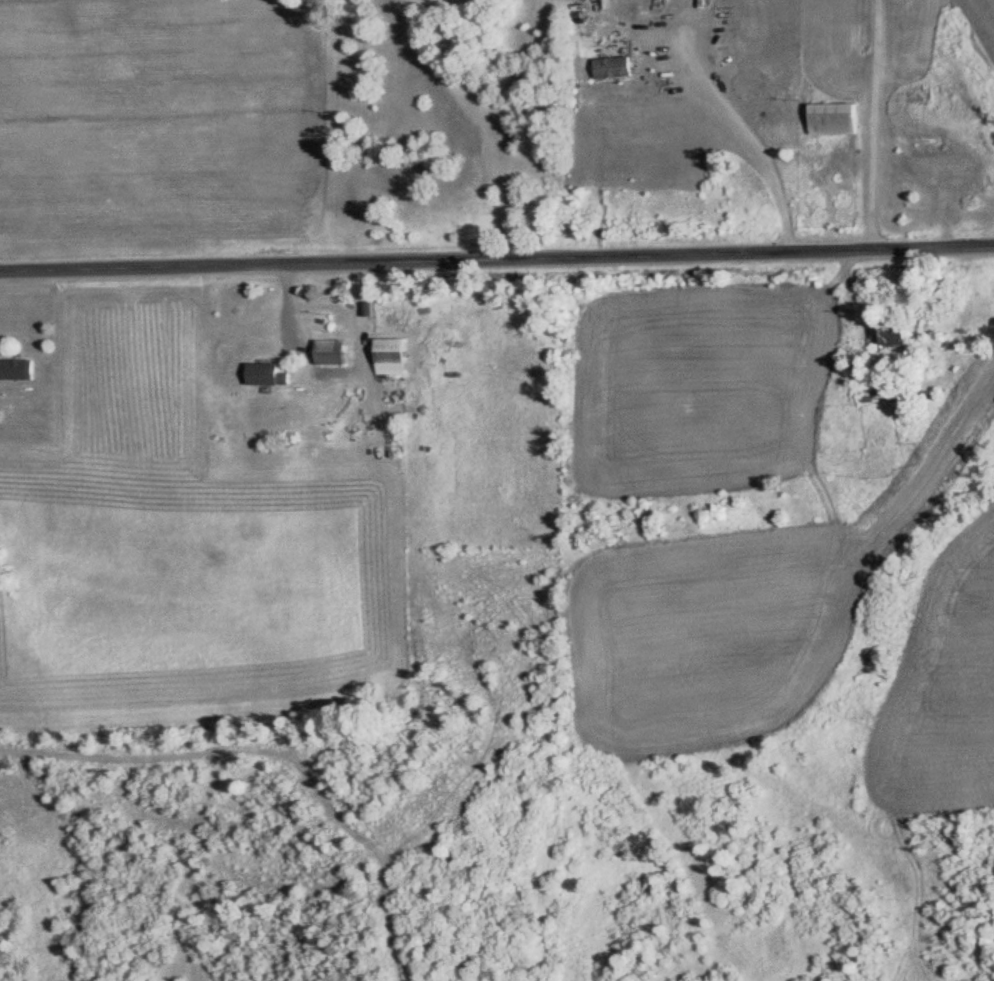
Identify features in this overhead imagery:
building: (613, 68)
building: (836, 119)
road: (497, 256)
building: (893, 335)
building: (330, 352)
building: (392, 356)
building: (16, 369)
building: (268, 375)

